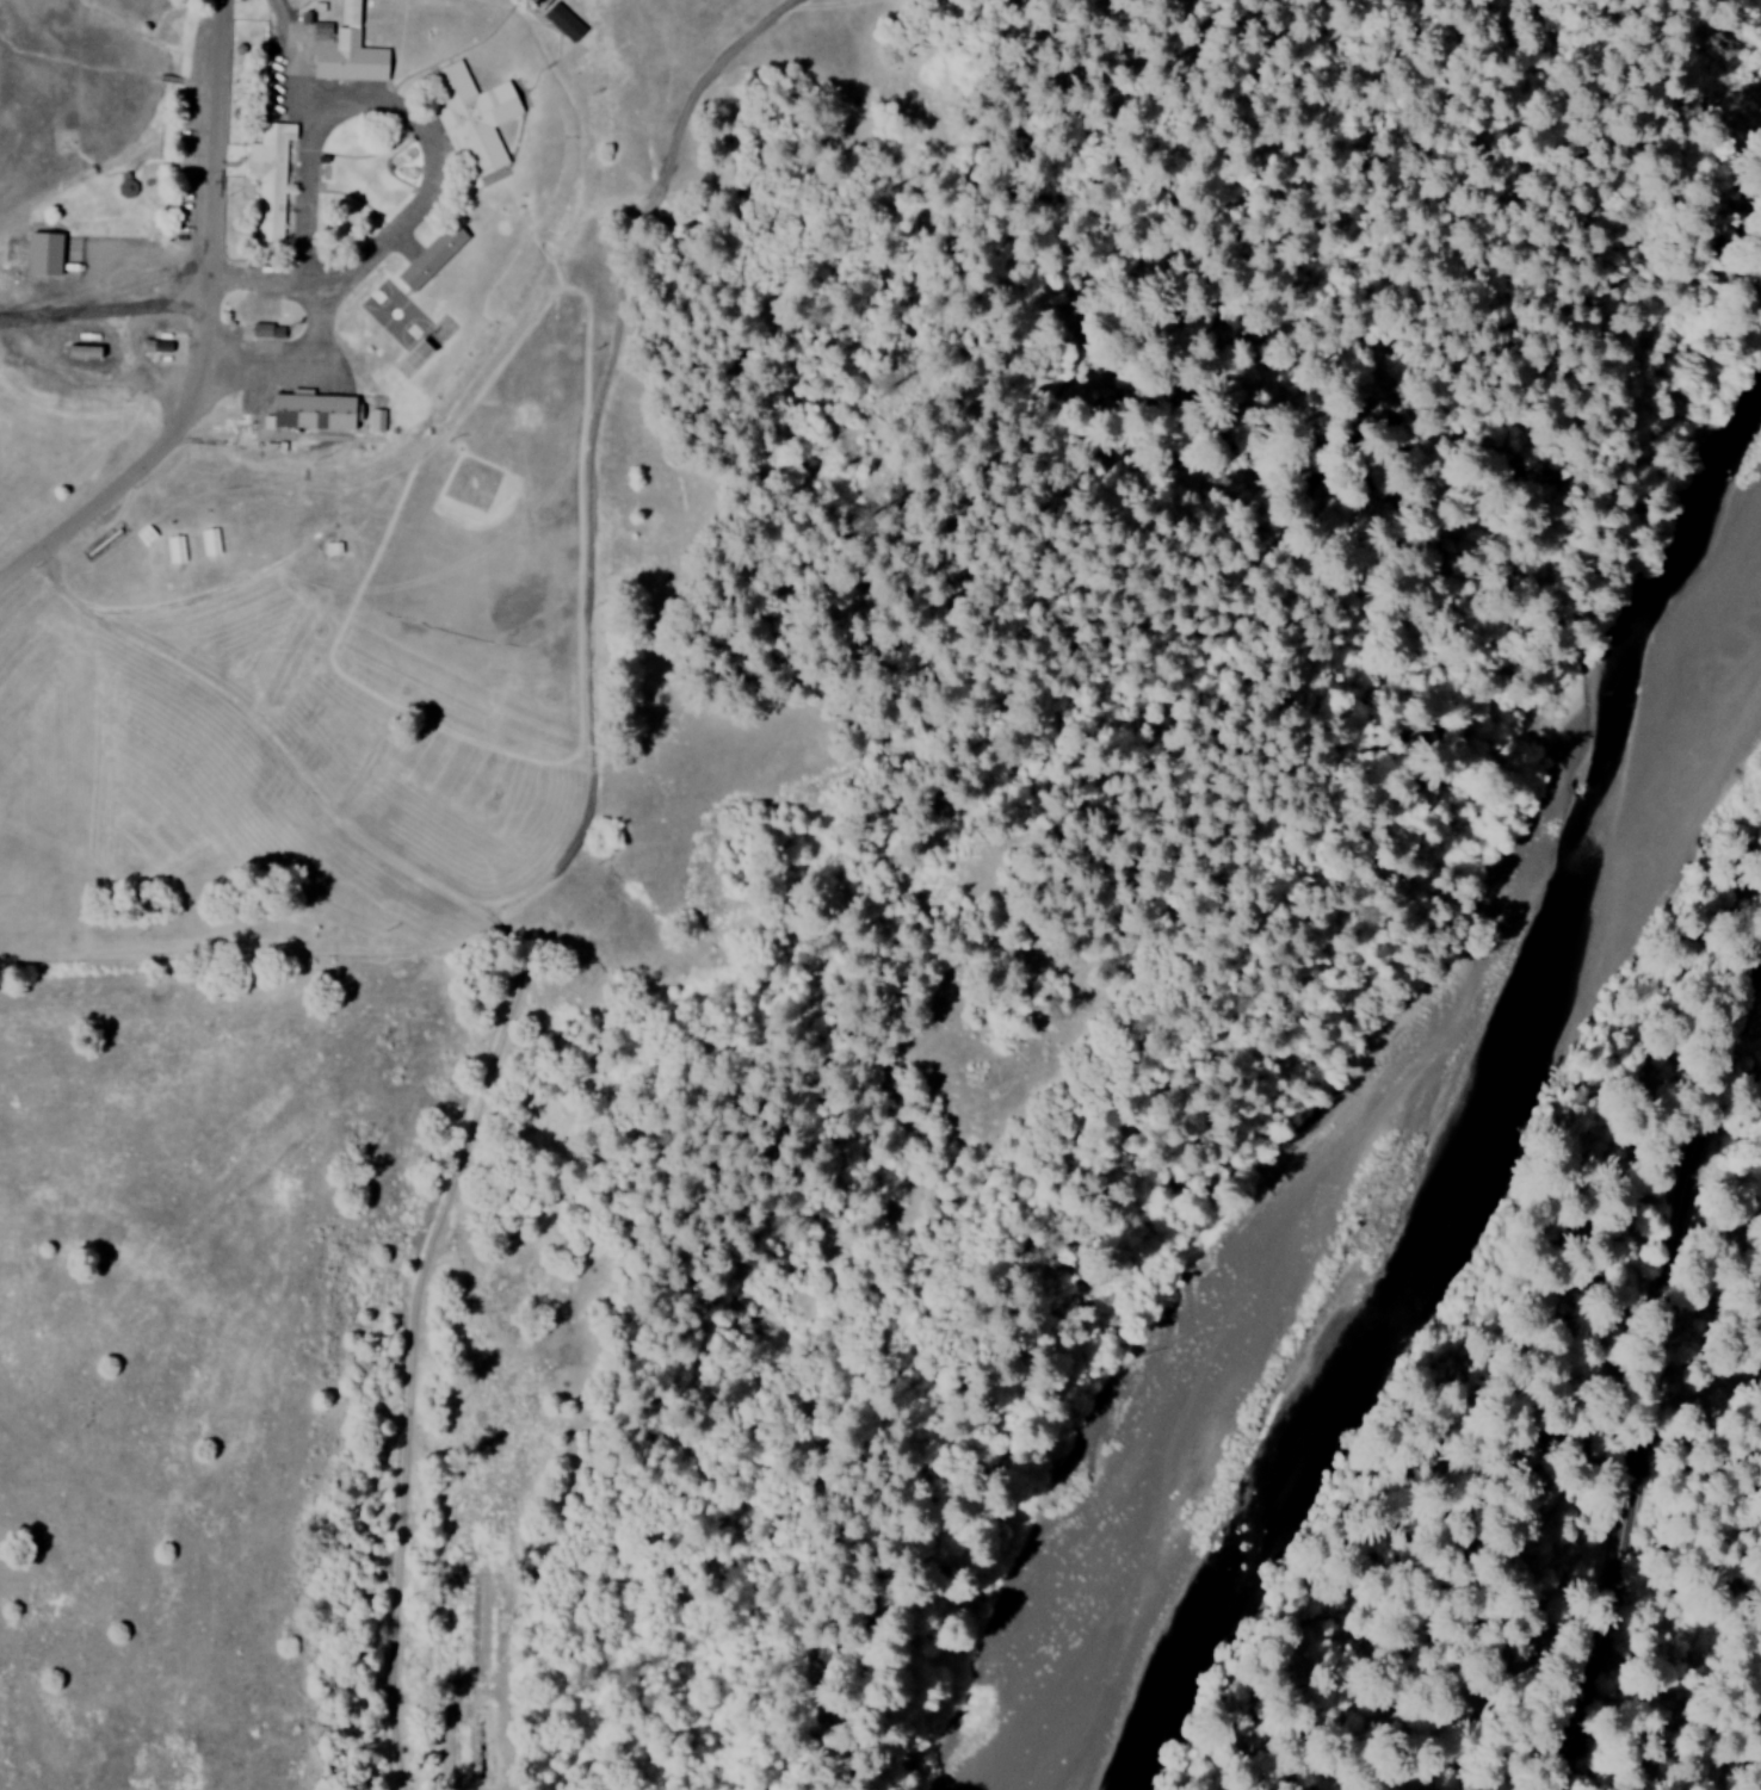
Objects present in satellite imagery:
building: (533, 4)
building: (561, 23)
building: (342, 49)
building: (470, 116)
road: (422, 117)
road: (220, 145)
building: (267, 180)
building: (39, 254)
building: (428, 258)
building: (258, 329)
building: (79, 351)
building: (308, 410)
building: (373, 420)
road: (198, 439)
river: (1640, 893)
road: (1646, 1402)
river: (1337, 1436)

